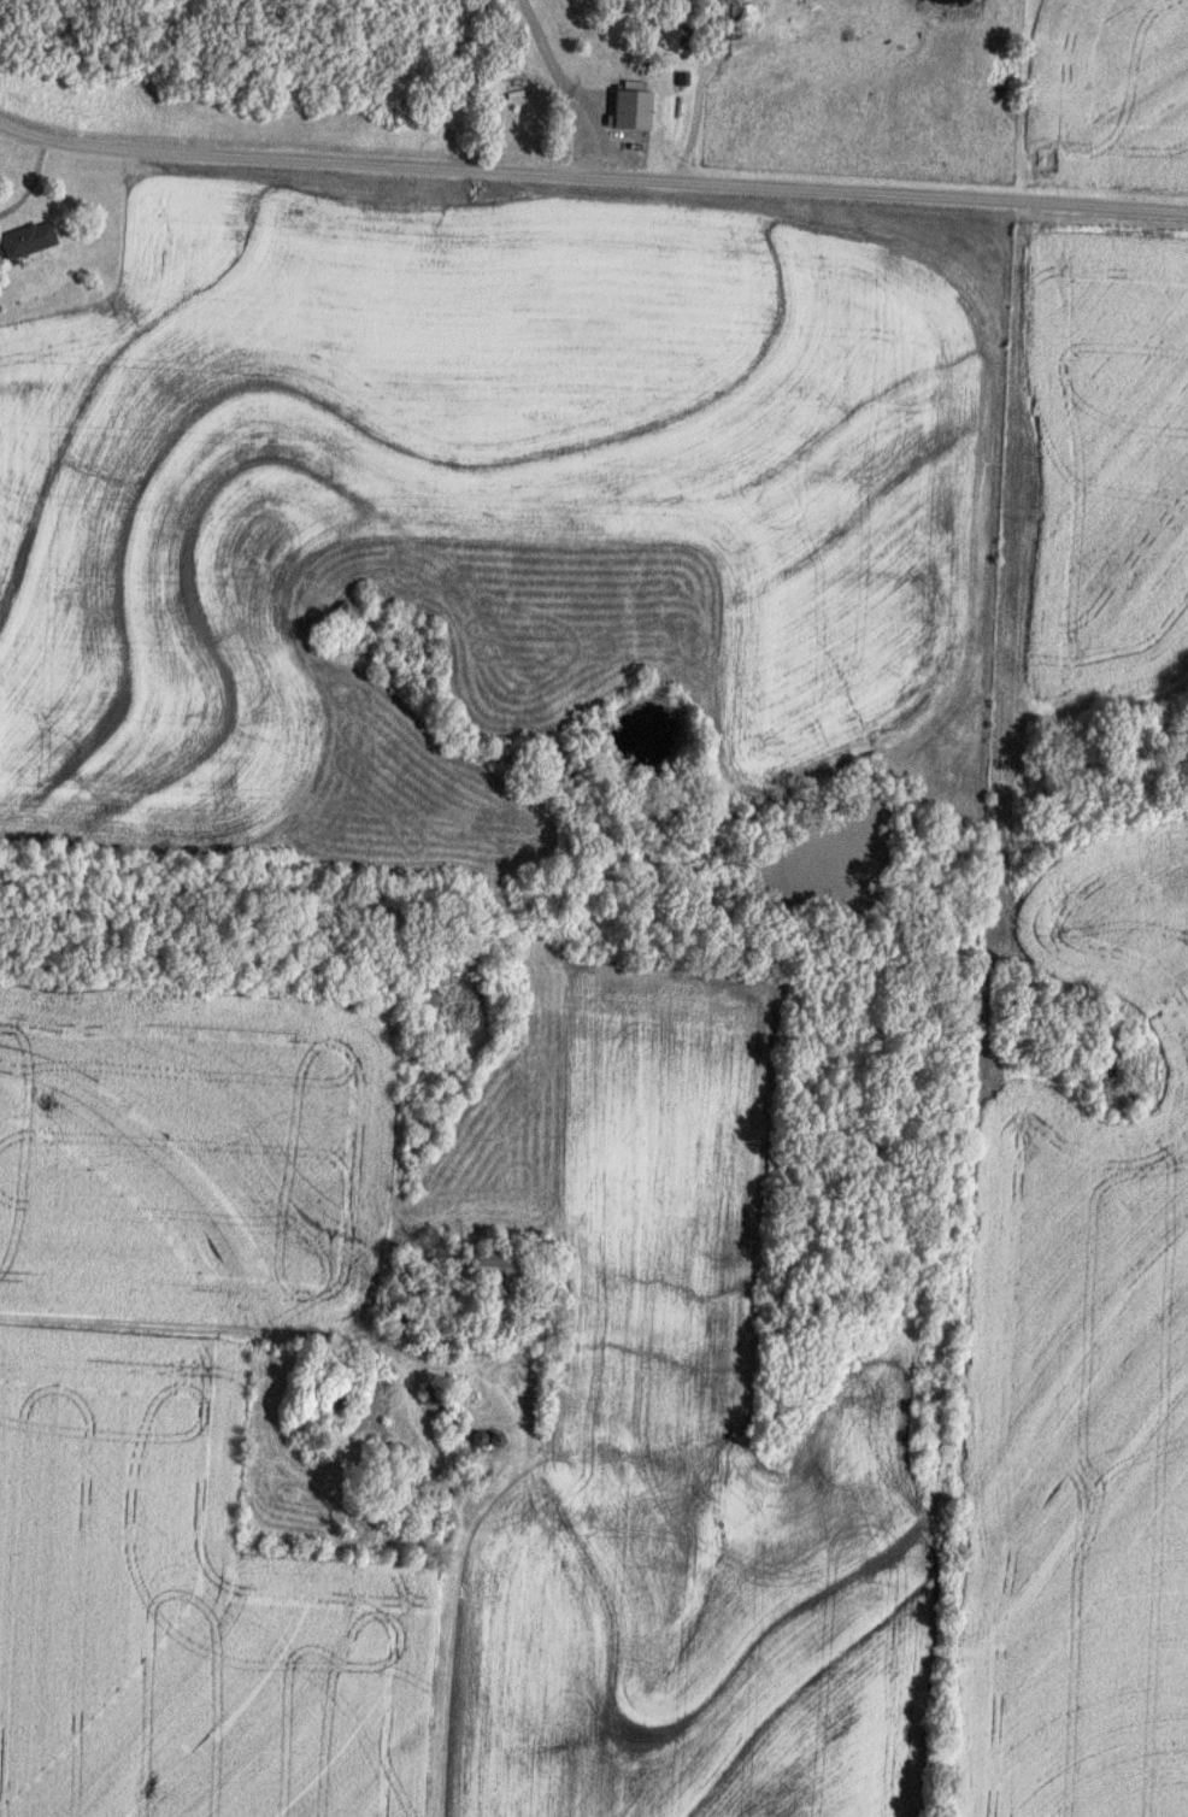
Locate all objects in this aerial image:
building: (723, 20)
road: (559, 83)
building: (627, 111)
road: (694, 113)
road: (592, 172)
building: (25, 241)
building: (488, 1270)
road: (241, 1330)

